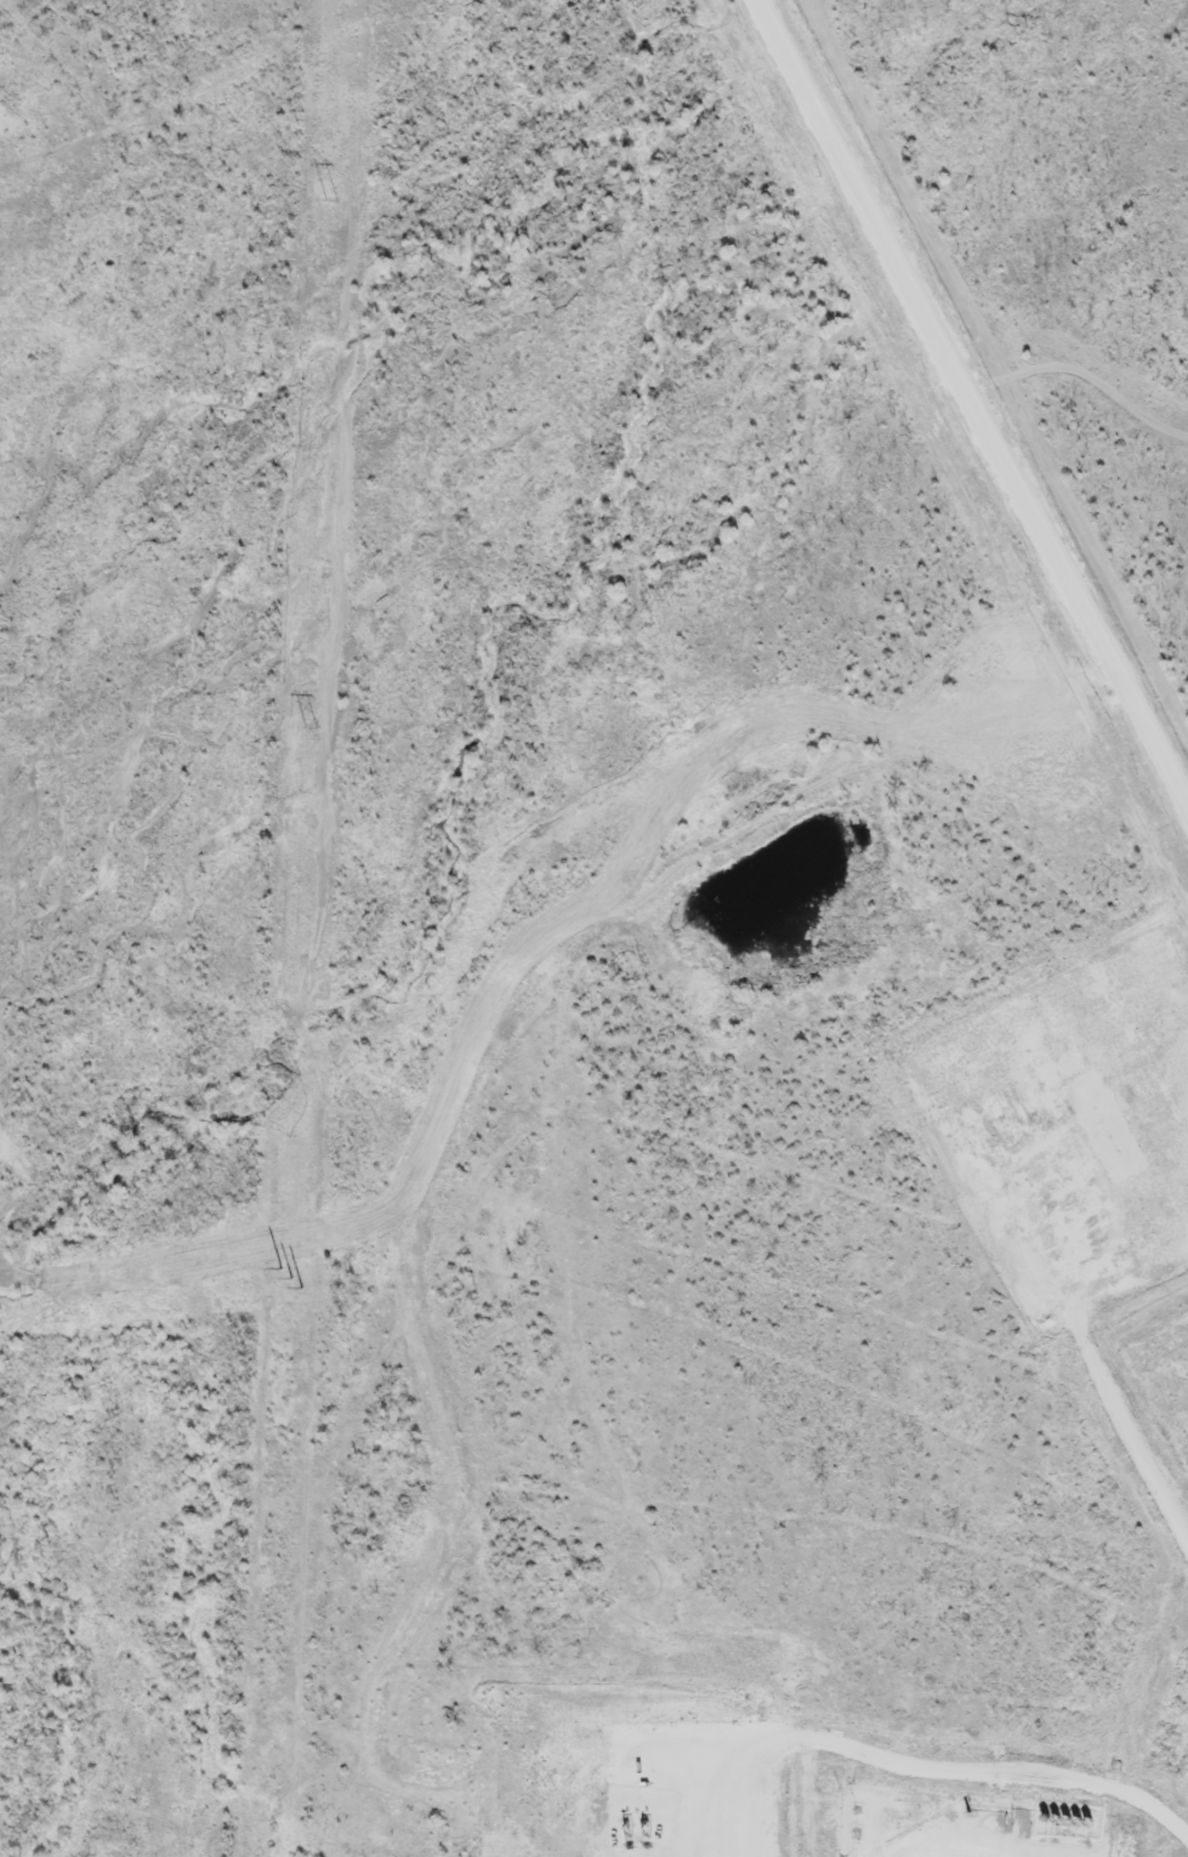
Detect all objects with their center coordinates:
power tower: (332, 197)
road: (973, 407)
power tower: (312, 725)
power tower: (291, 1277)
road: (973, 1765)
road: (732, 1800)

